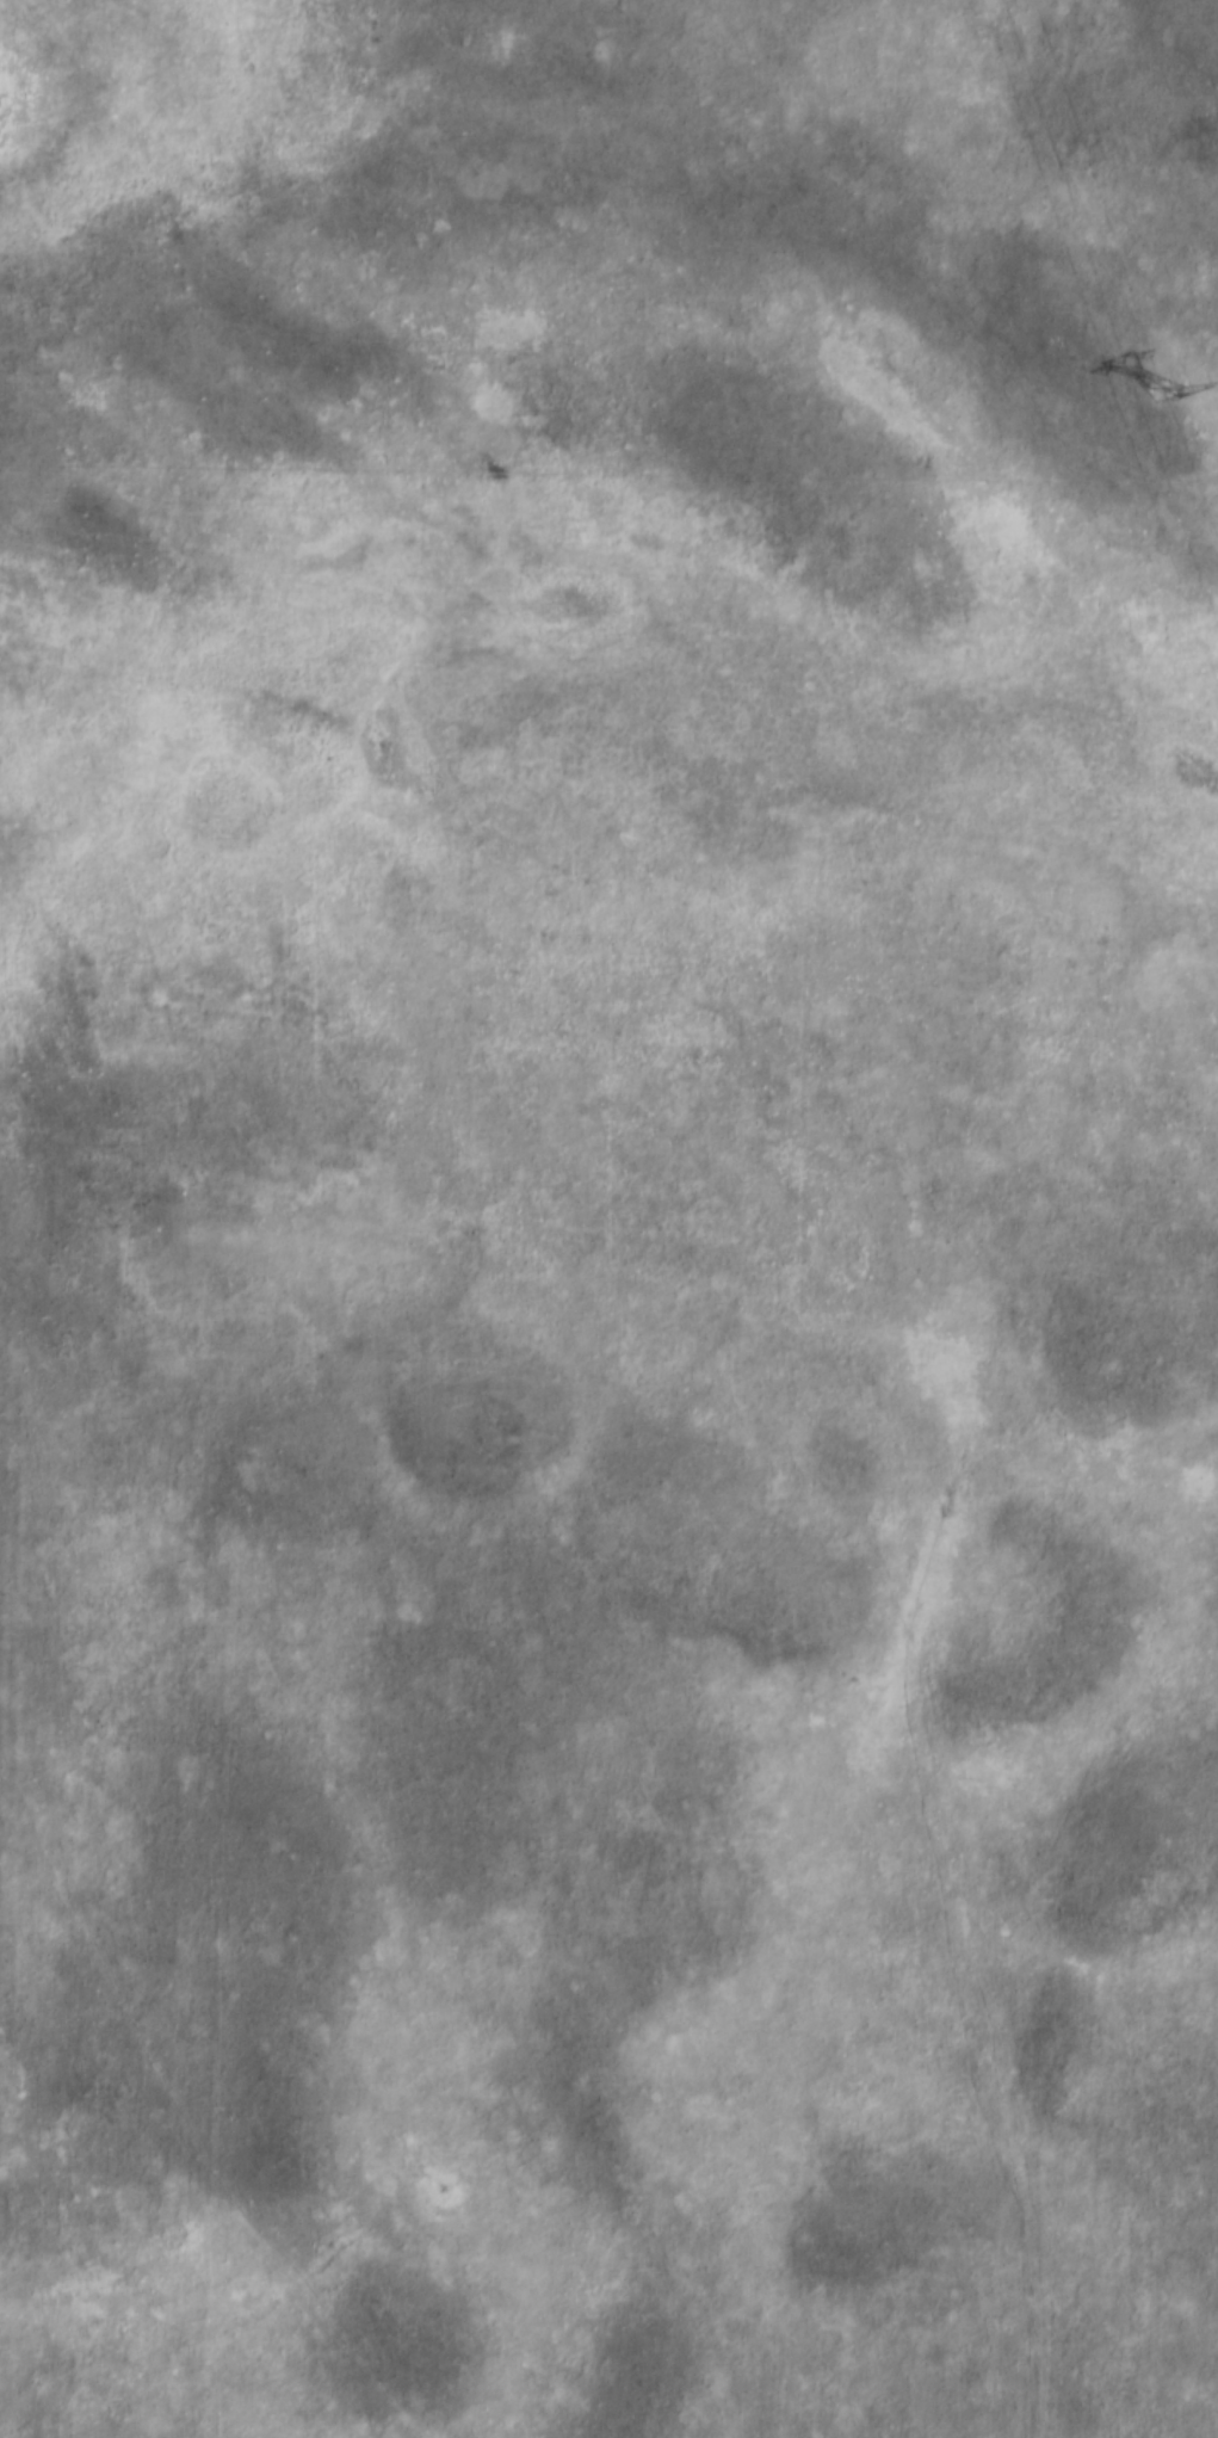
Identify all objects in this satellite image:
power tower: (1162, 393)

